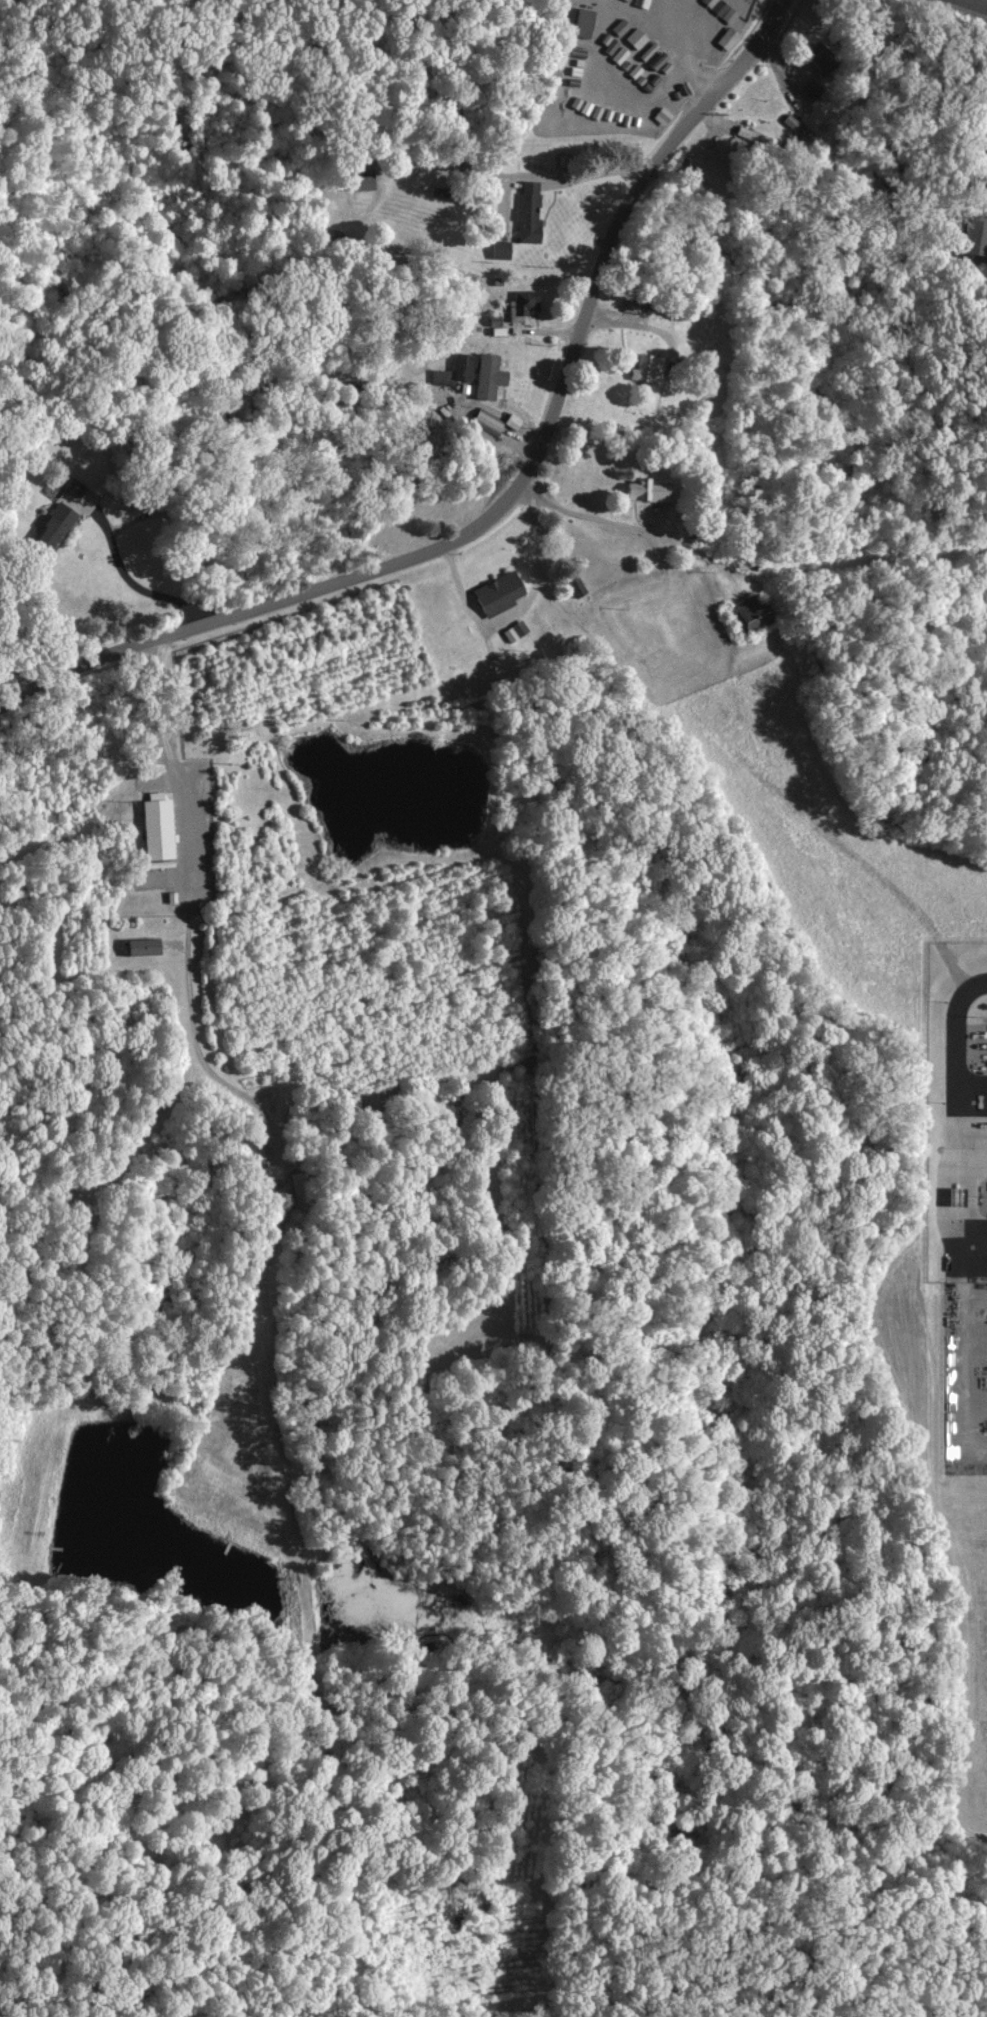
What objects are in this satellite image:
road: (984, 0)
building: (721, 7)
building: (584, 22)
building: (728, 38)
building: (823, 59)
building: (812, 89)
building: (662, 115)
building: (530, 211)
building: (976, 235)
building: (502, 249)
building: (528, 300)
building: (630, 305)
building: (463, 366)
building: (649, 368)
building: (490, 376)
building: (489, 422)
road: (512, 486)
building: (650, 491)
road: (592, 520)
building: (55, 527)
road: (127, 571)
building: (500, 593)
building: (752, 611)
building: (516, 630)
building: (159, 826)
road: (192, 909)
building: (145, 945)
road: (953, 1022)
building: (254, 1148)
road: (943, 1185)
building: (301, 1189)

